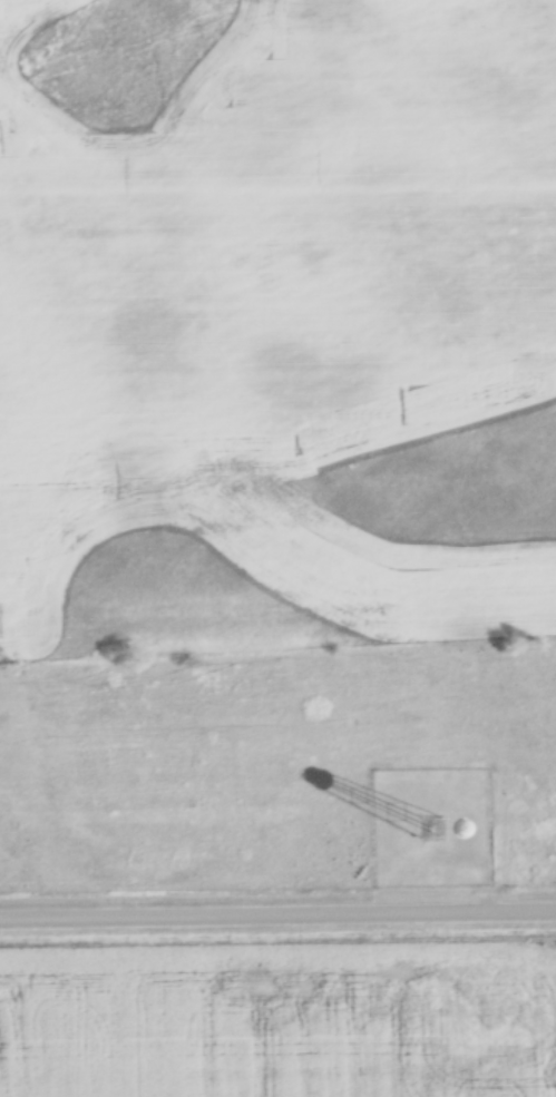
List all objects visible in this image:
building: (418, 827)
road: (277, 922)

